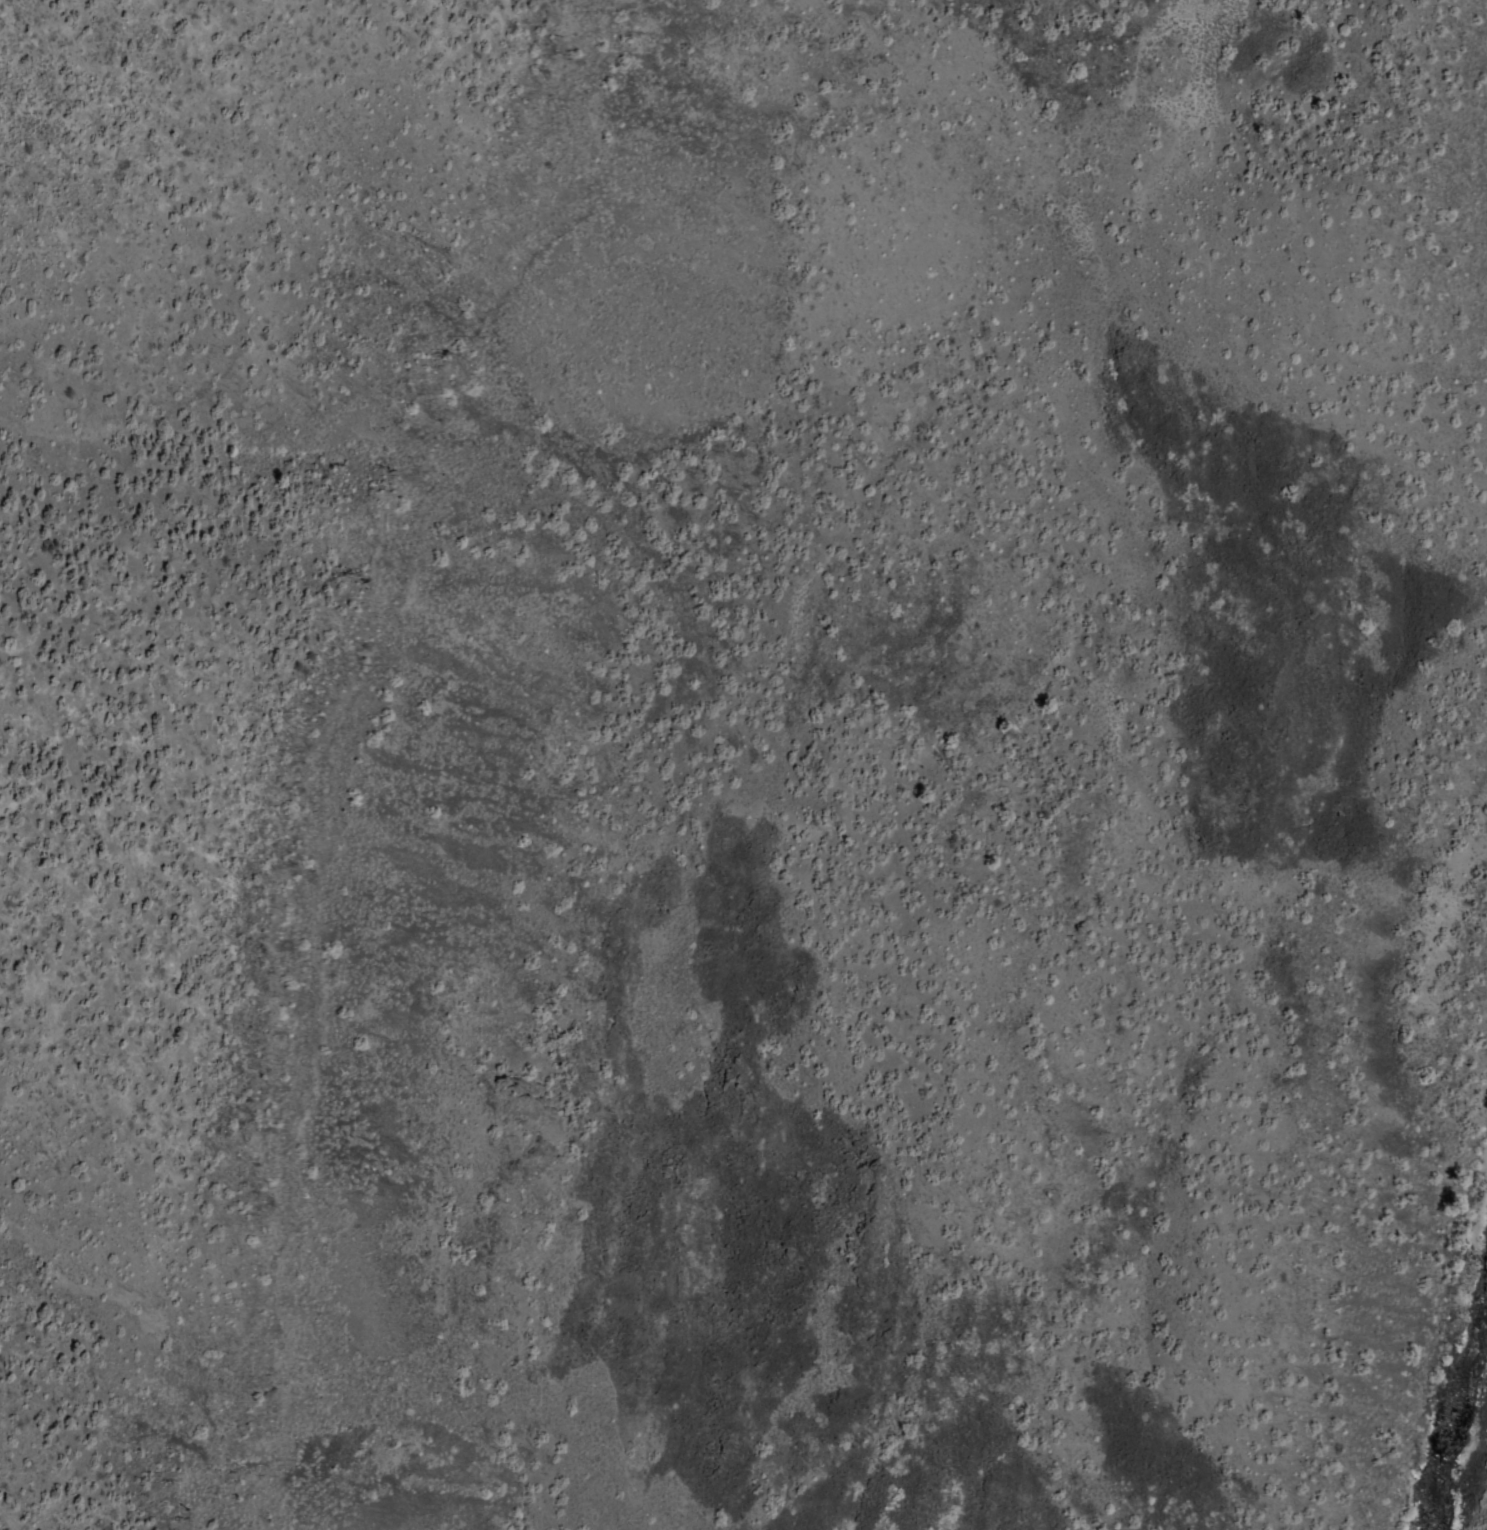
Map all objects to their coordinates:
river: (1461, 1439)

